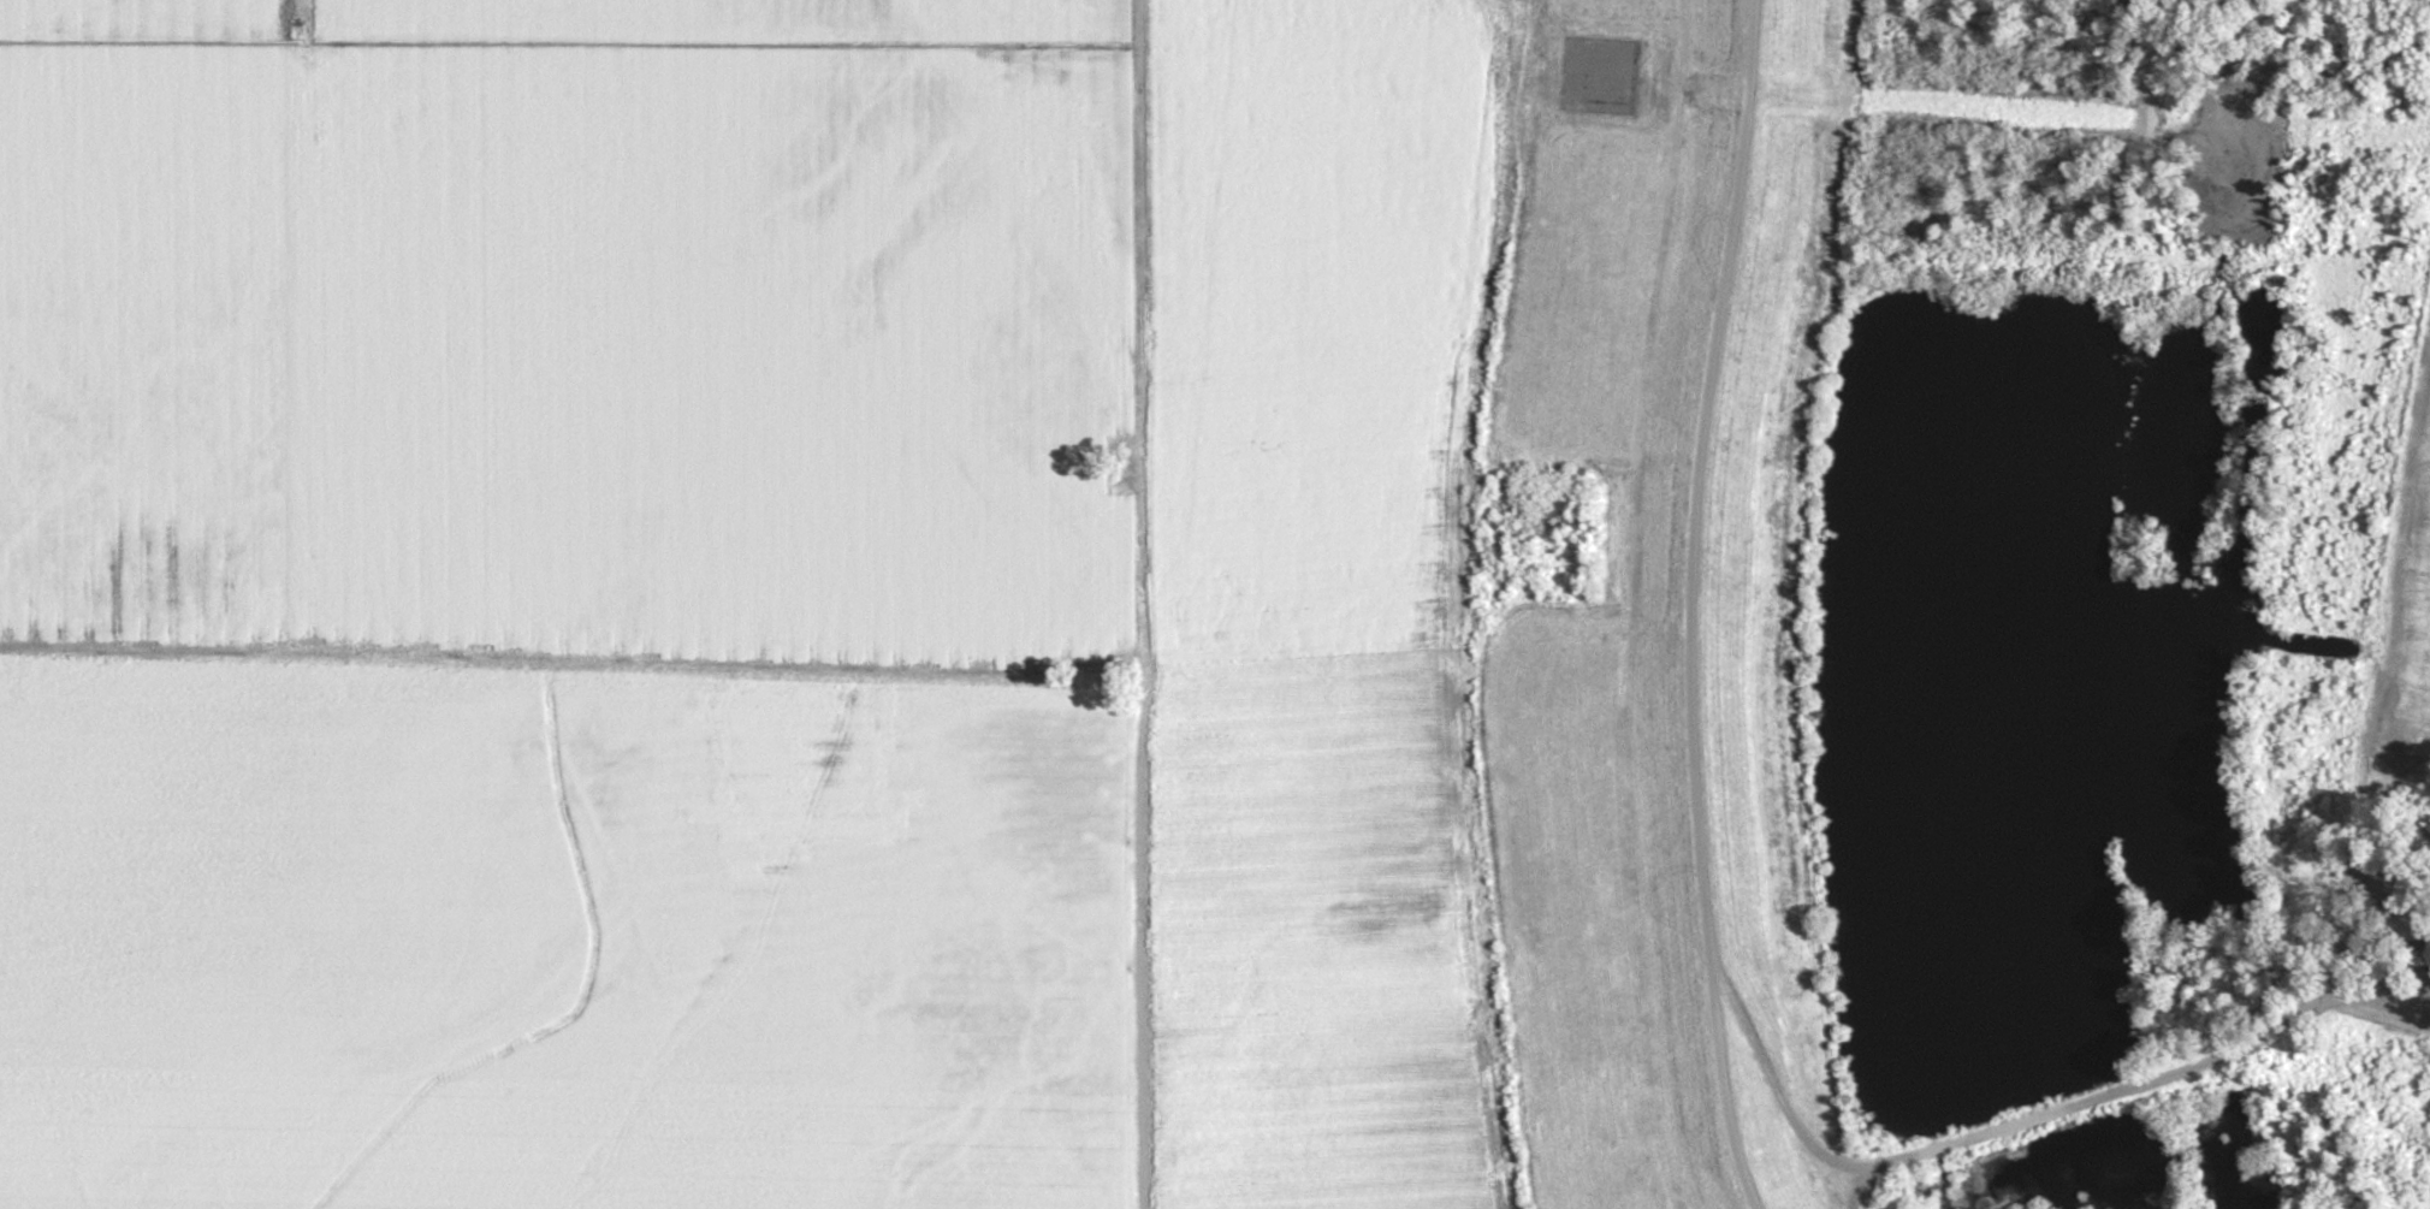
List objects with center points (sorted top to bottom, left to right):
road: (1689, 605)
road: (2097, 1101)

